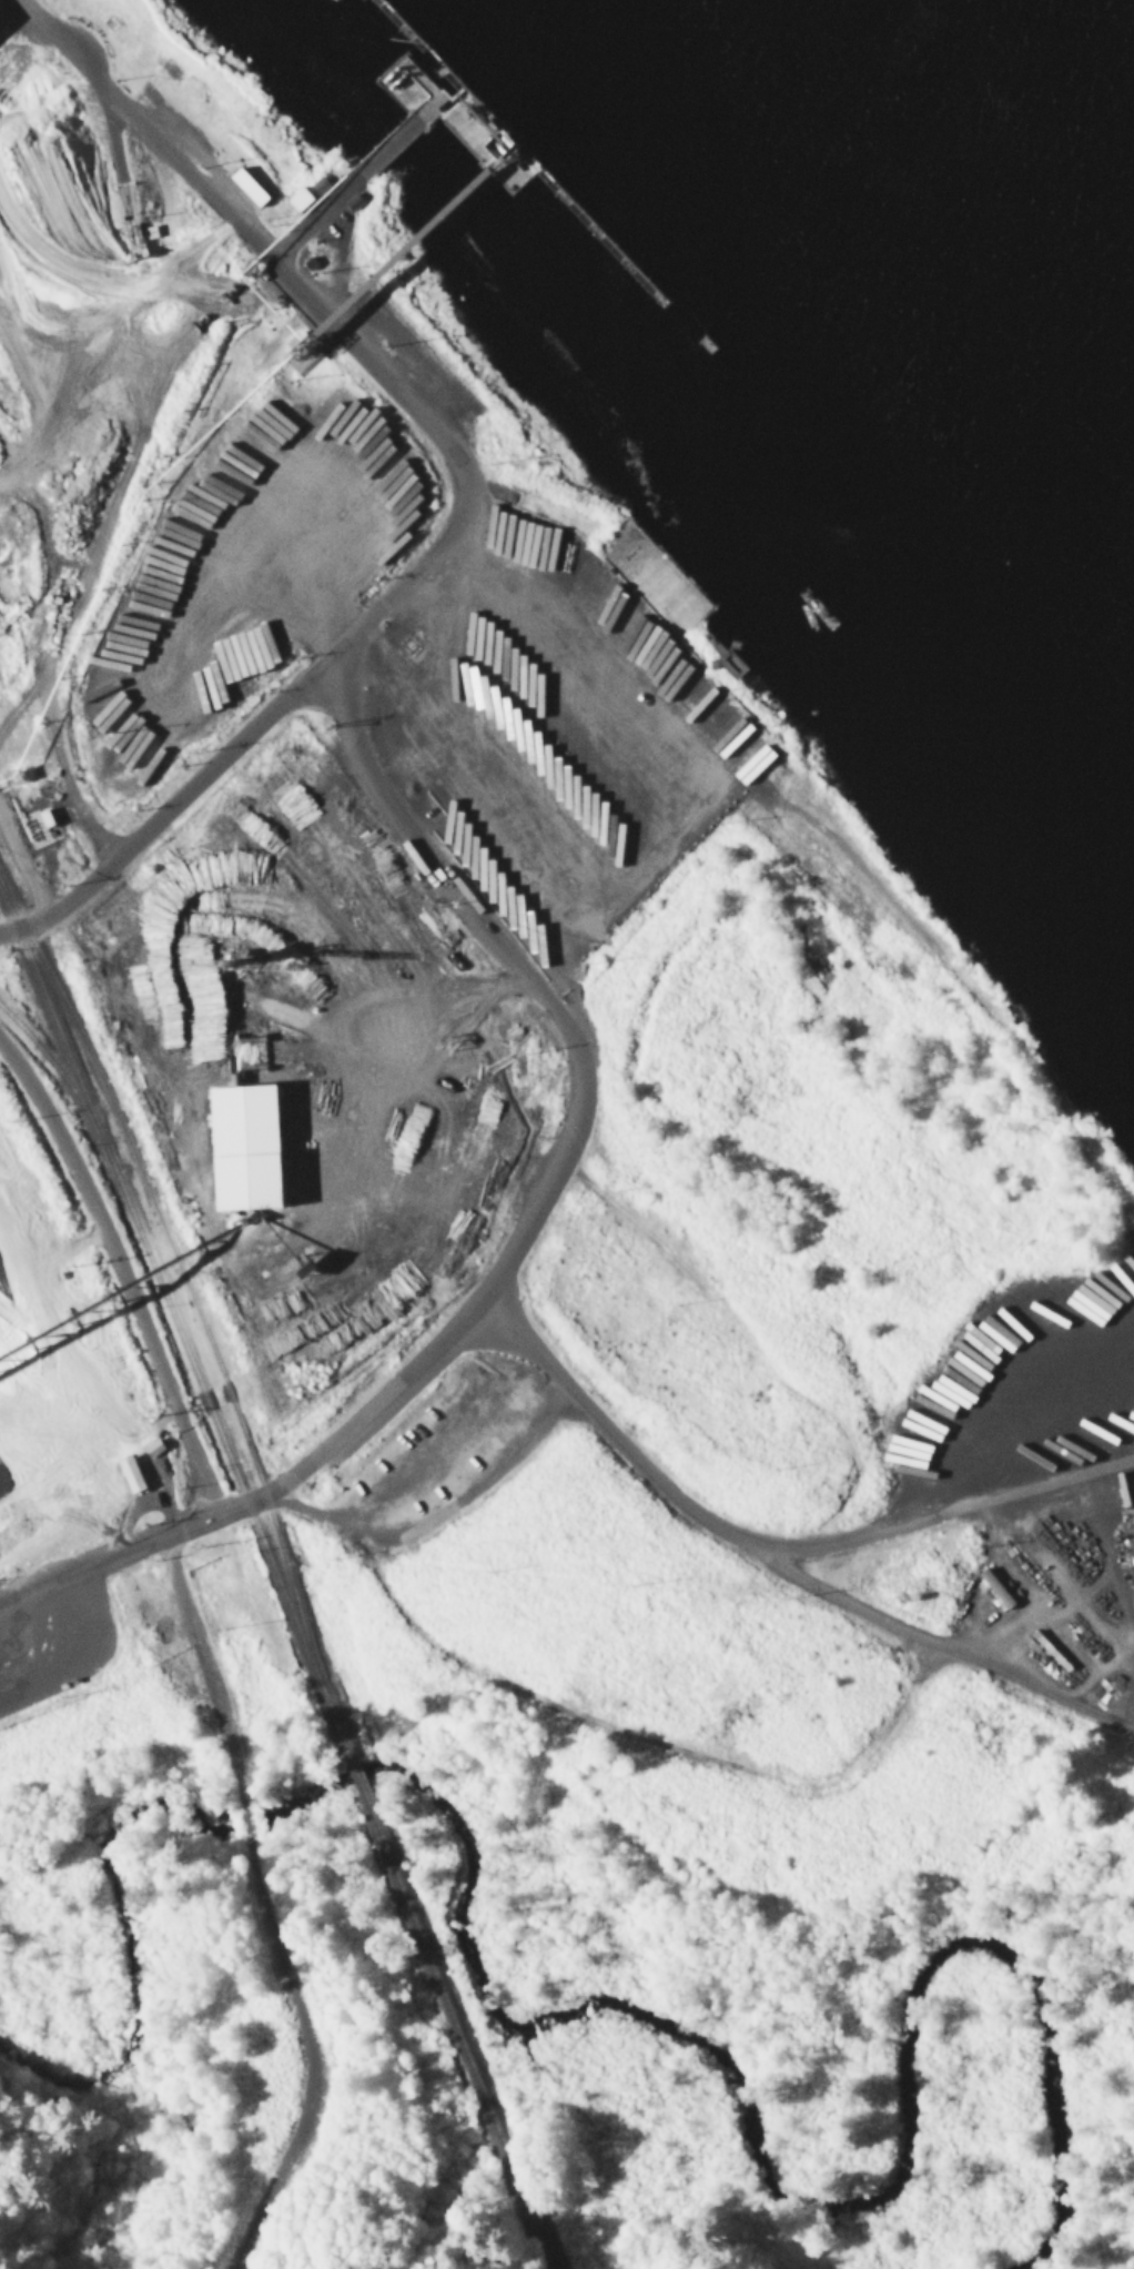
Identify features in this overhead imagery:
building: (0, 23)
building: (253, 189)
building: (303, 201)
building: (149, 759)
building: (188, 860)
railway: (62, 1092)
railway: (166, 1246)
railway: (179, 1332)
road: (175, 1393)
building: (134, 1476)
railway: (357, 1788)
railway: (454, 2035)

